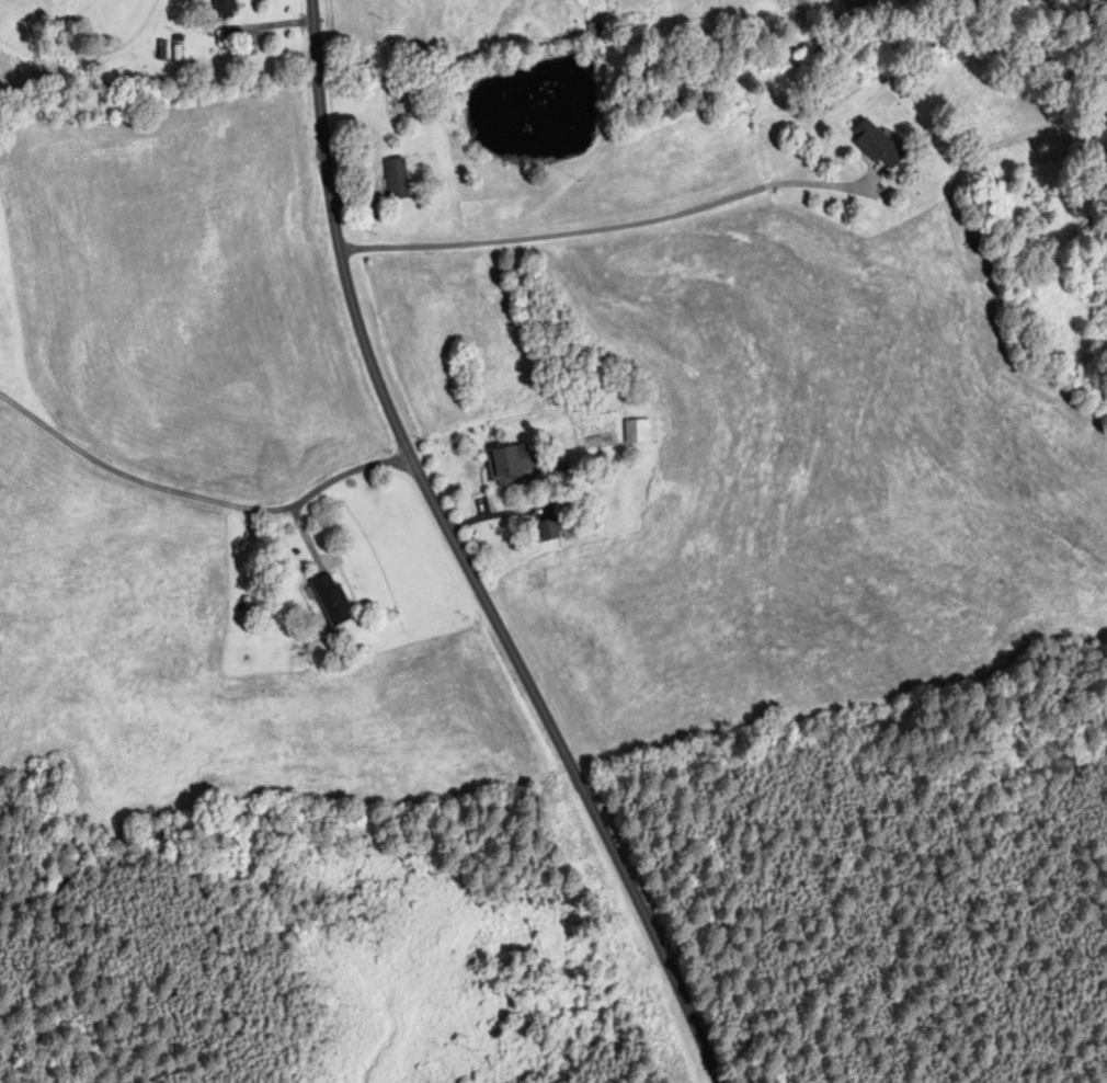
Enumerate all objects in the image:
building: (222, 8)
building: (876, 145)
building: (396, 180)
road: (606, 227)
building: (637, 432)
building: (510, 465)
road: (198, 497)
building: (548, 531)
road: (463, 557)
building: (331, 600)

